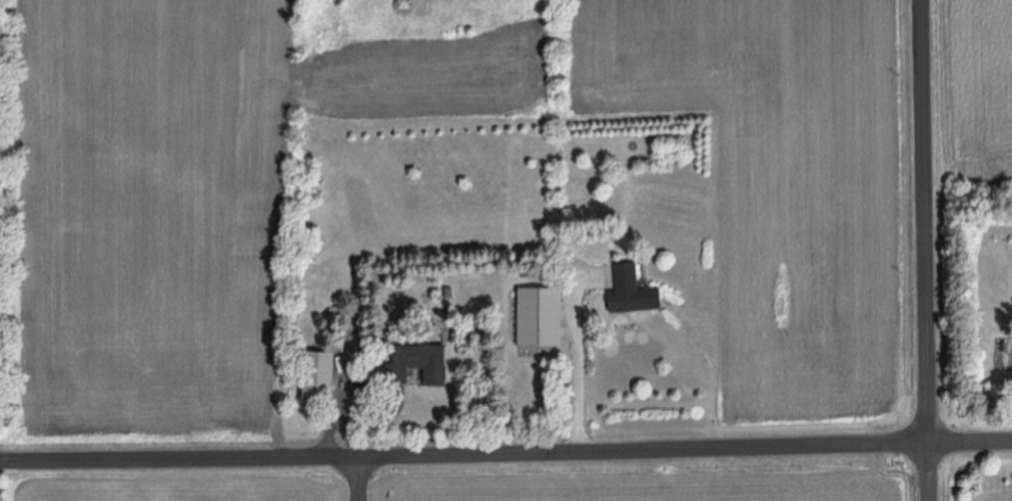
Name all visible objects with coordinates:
crop: (972, 94)
road: (929, 250)
crop: (145, 257)
building: (635, 292)
building: (542, 317)
road: (580, 358)
building: (419, 364)
building: (318, 373)
road: (506, 455)
road: (357, 479)

